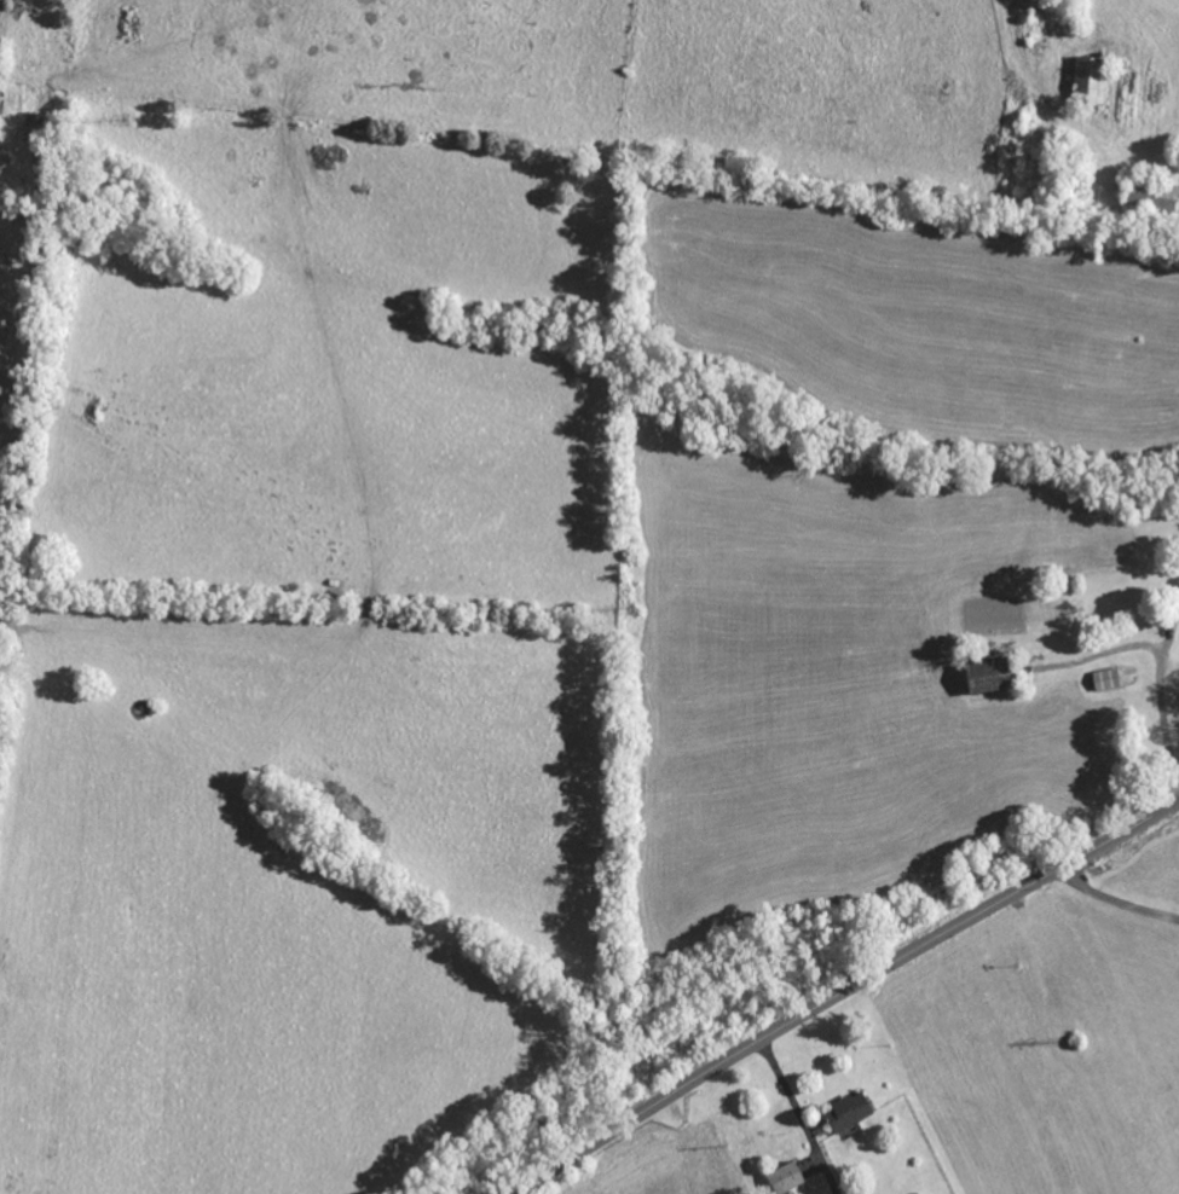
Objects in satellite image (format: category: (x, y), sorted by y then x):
building: (1090, 82)
power tower: (132, 117)
building: (1152, 198)
building: (1178, 581)
power tower: (638, 608)
building: (990, 677)
building: (1108, 680)
road: (1116, 899)
road: (843, 991)
power tower: (1081, 1042)
building: (849, 1112)
building: (786, 1178)

